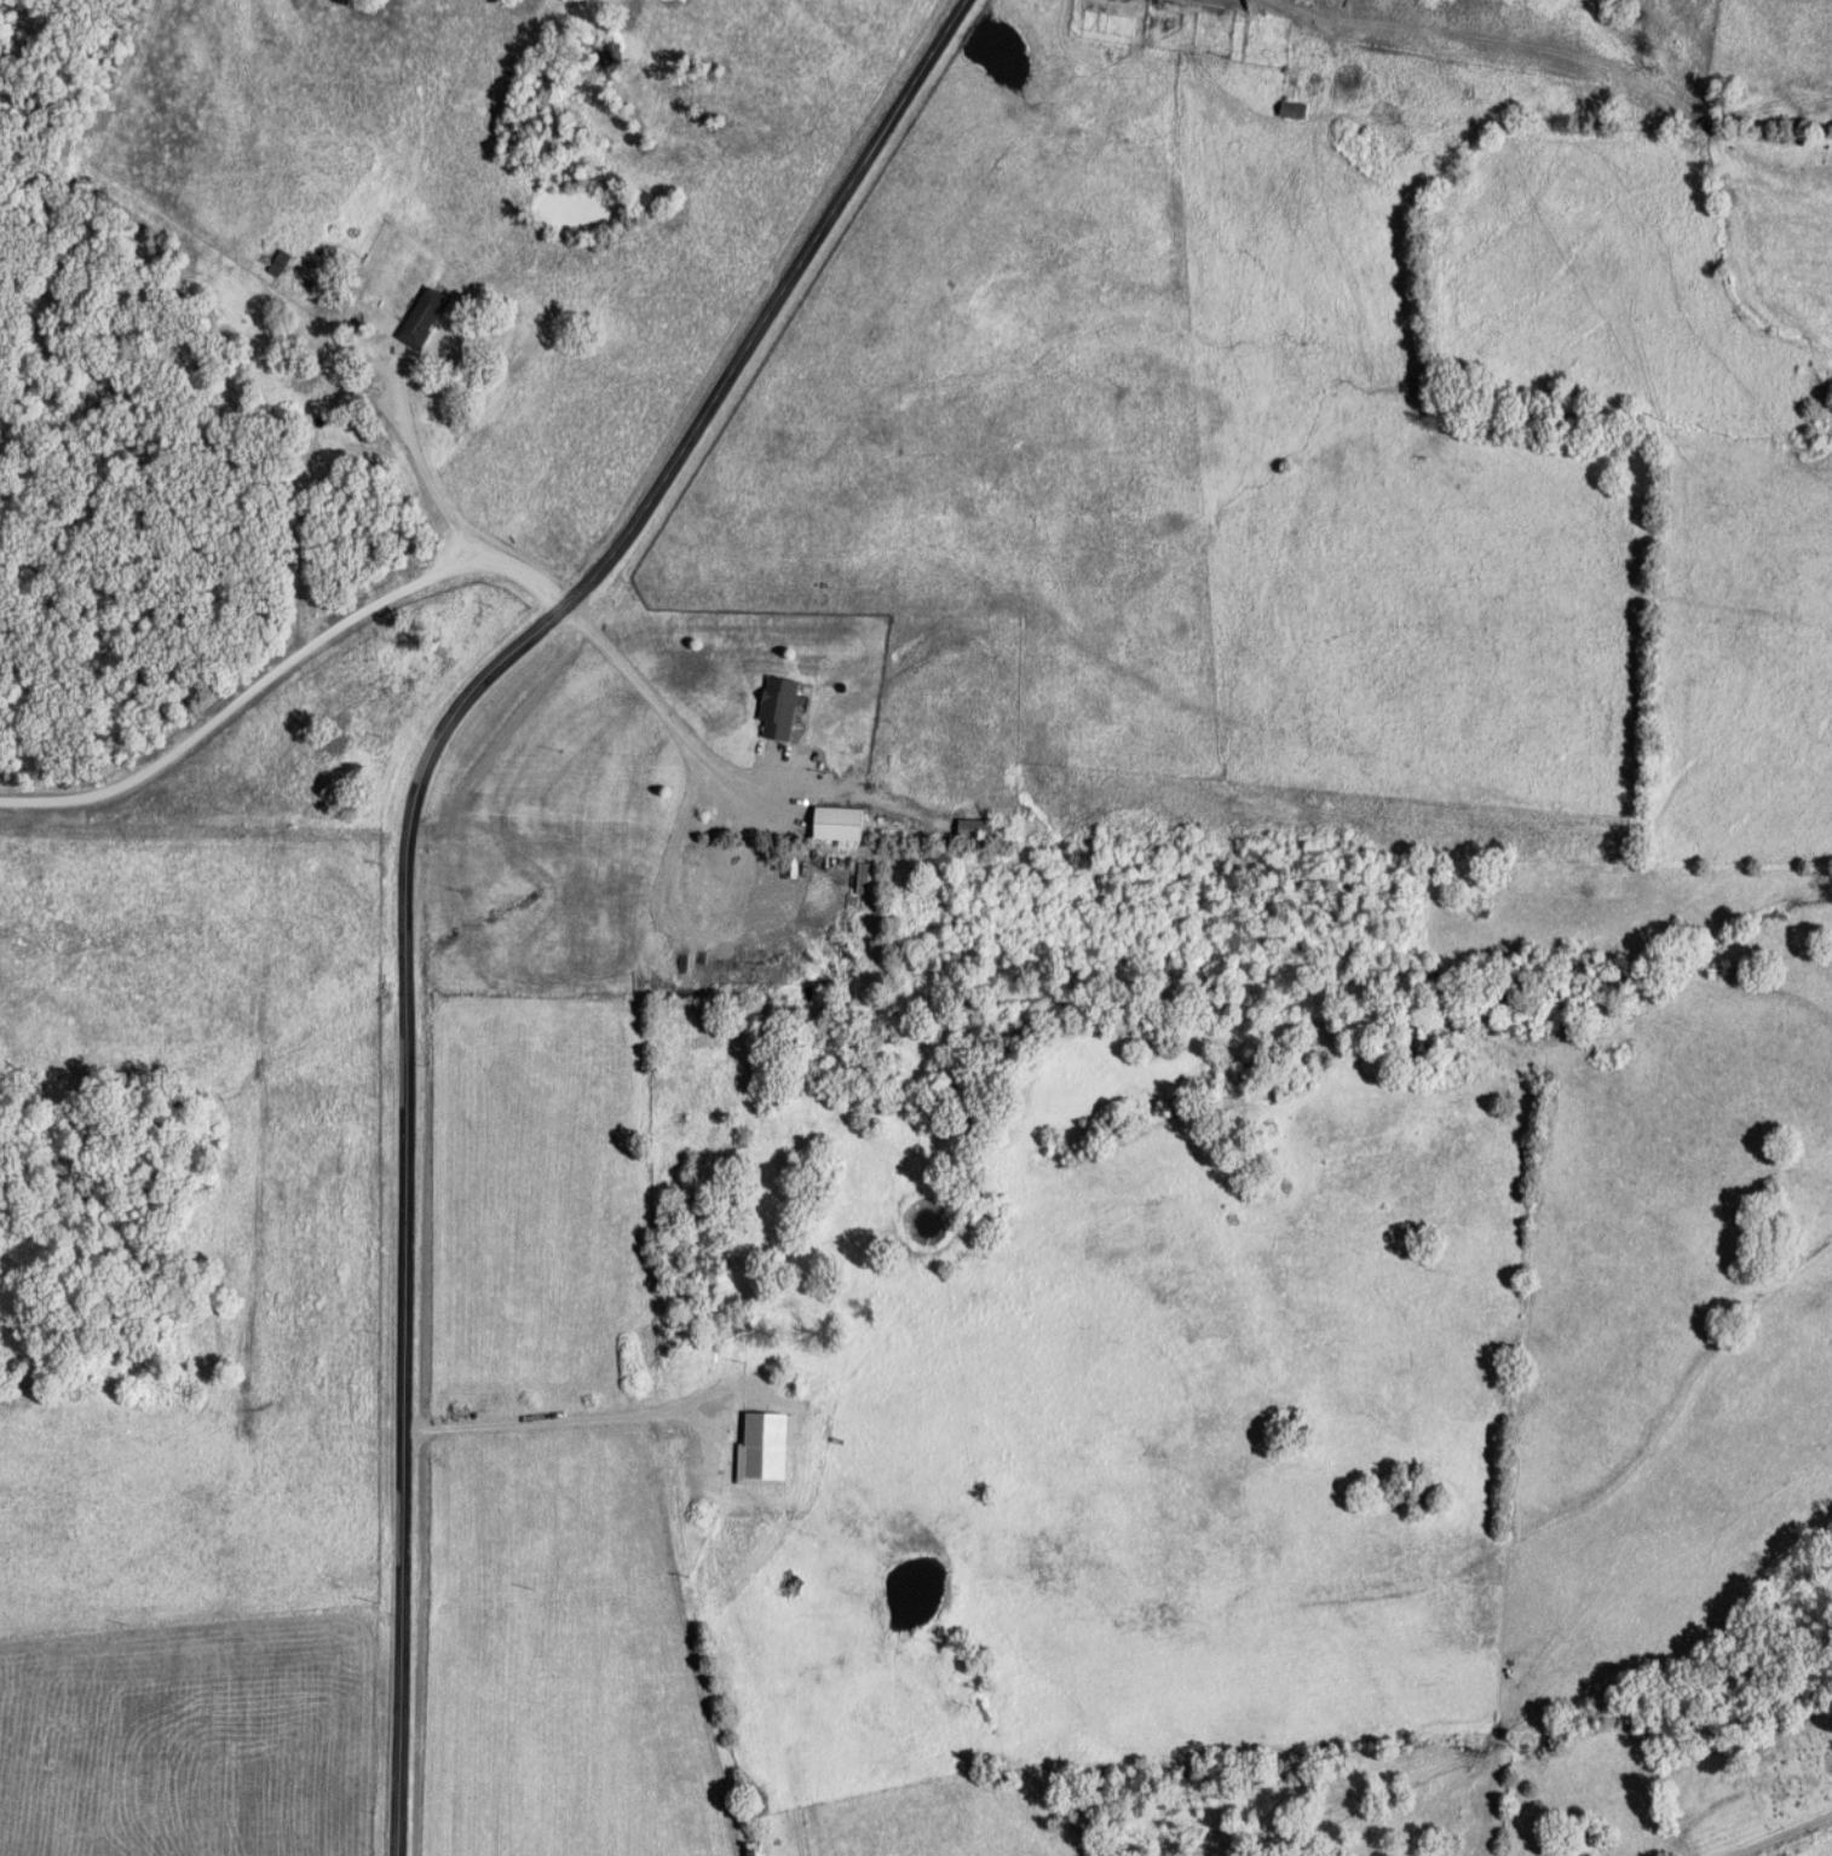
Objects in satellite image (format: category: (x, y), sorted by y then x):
building: (1297, 109)
building: (282, 263)
building: (427, 318)
road: (450, 512)
road: (246, 693)
road: (656, 708)
building: (783, 708)
building: (842, 823)
building: (979, 828)
road: (408, 840)
building: (478, 851)
building: (589, 880)
building: (453, 946)
park: (1790, 1762)
road: (1780, 1834)

